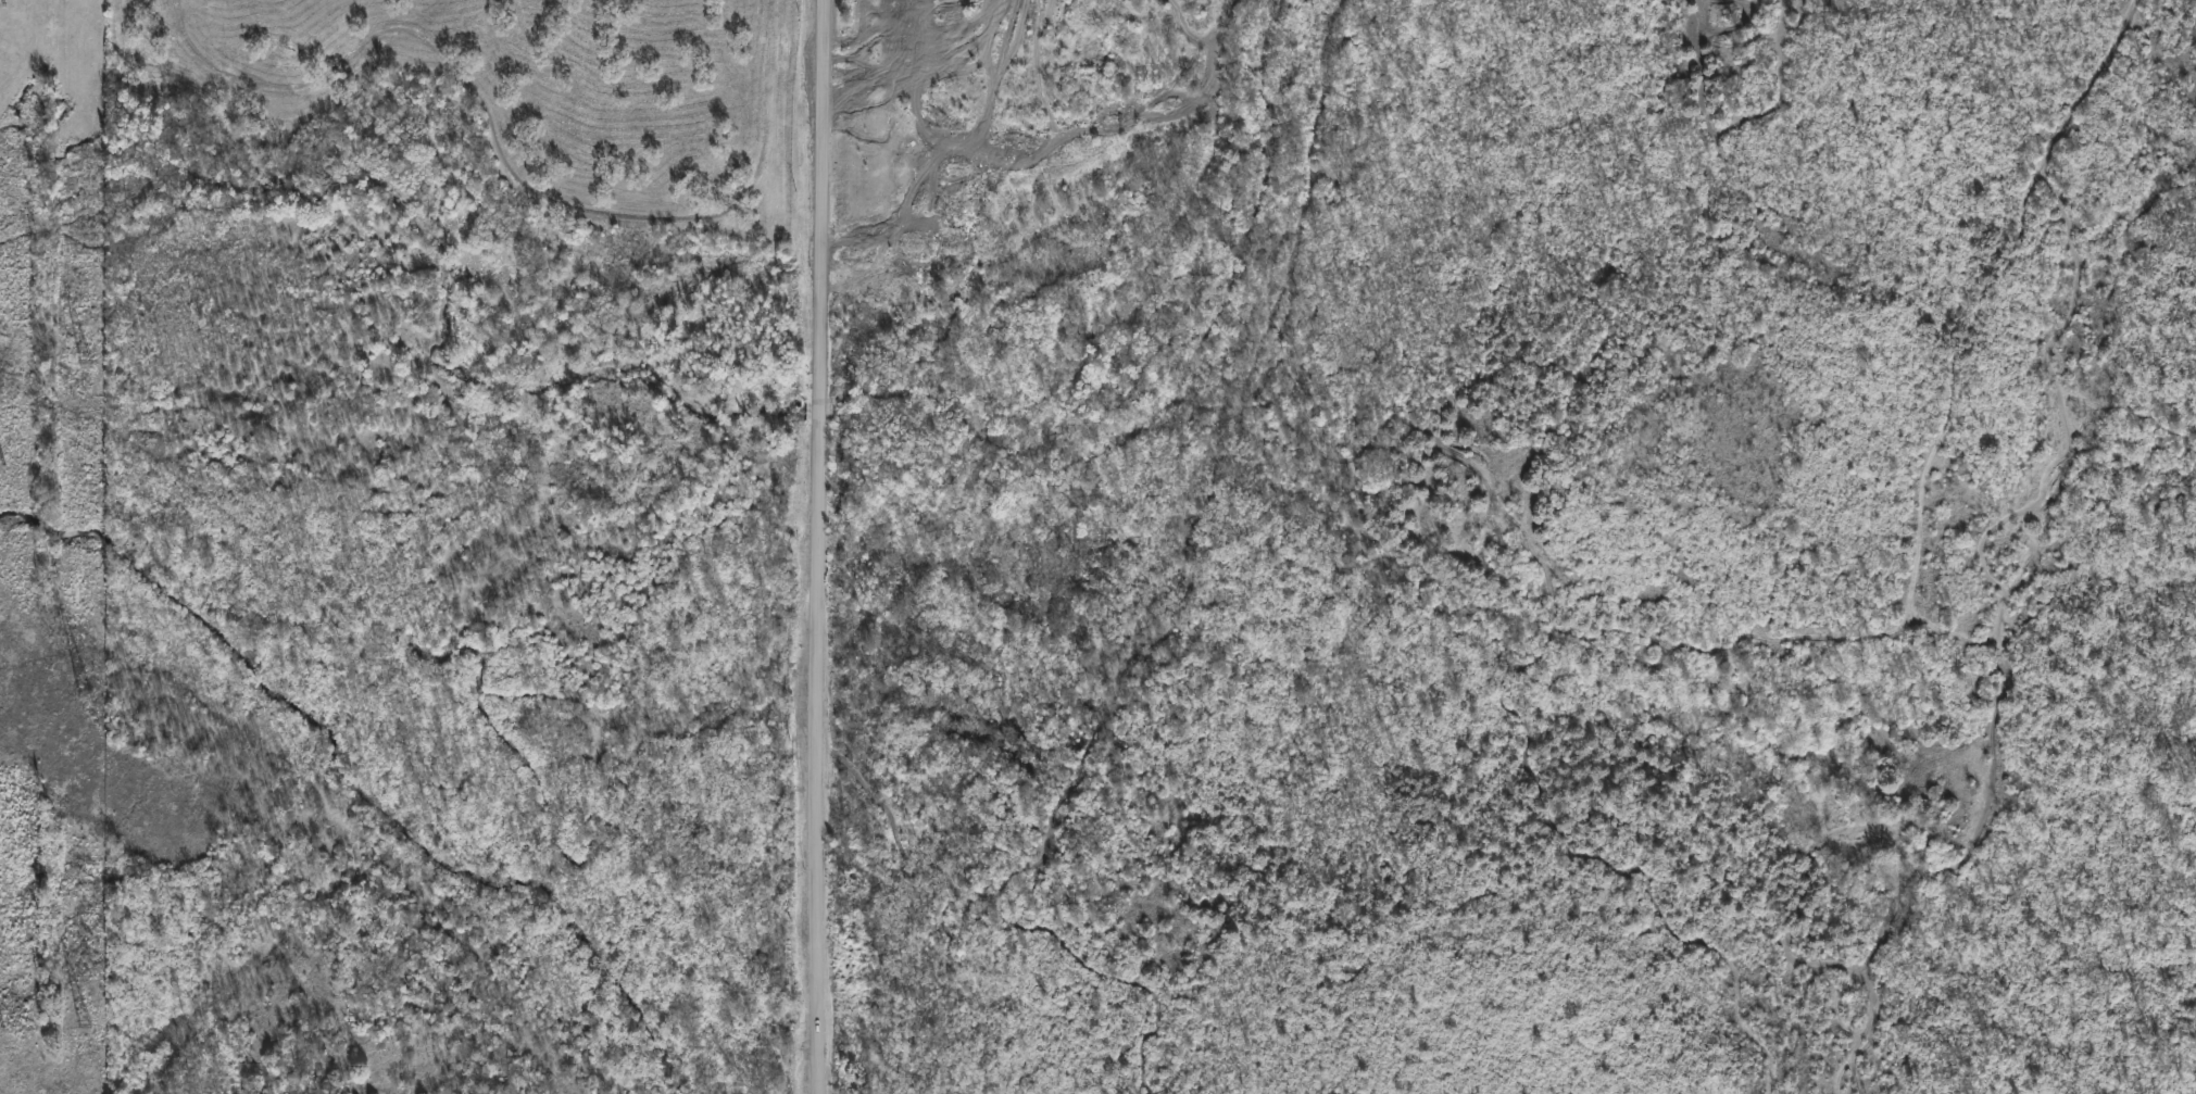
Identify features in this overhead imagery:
park: (482, 113)
power tower: (91, 367)
road: (819, 546)
power tower: (91, 703)
power tower: (89, 1030)

